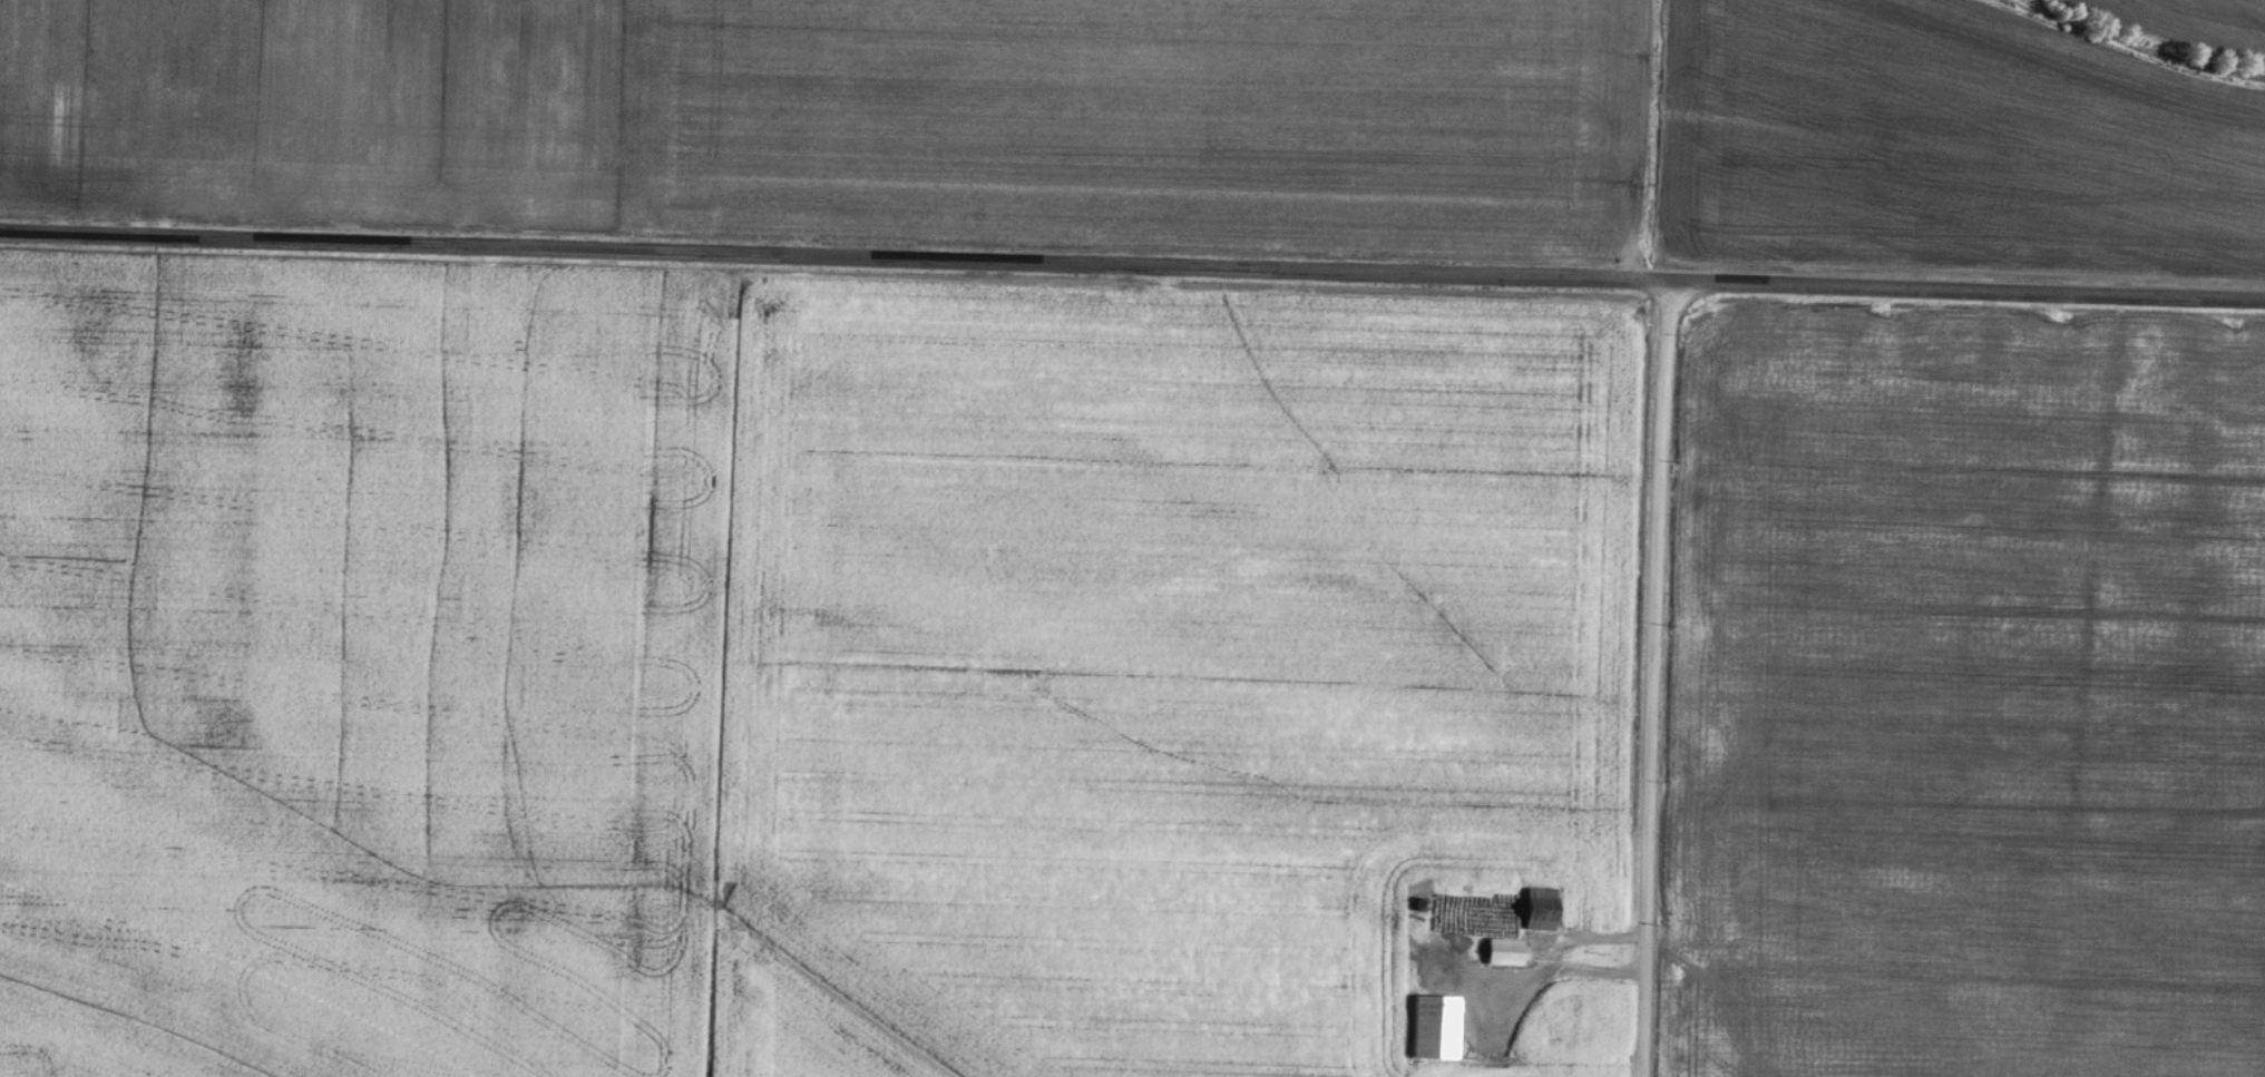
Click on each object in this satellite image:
road: (1132, 264)
road: (1654, 678)
building: (1419, 905)
building: (1539, 910)
building: (1503, 953)
road: (1563, 975)
building: (1433, 1028)

